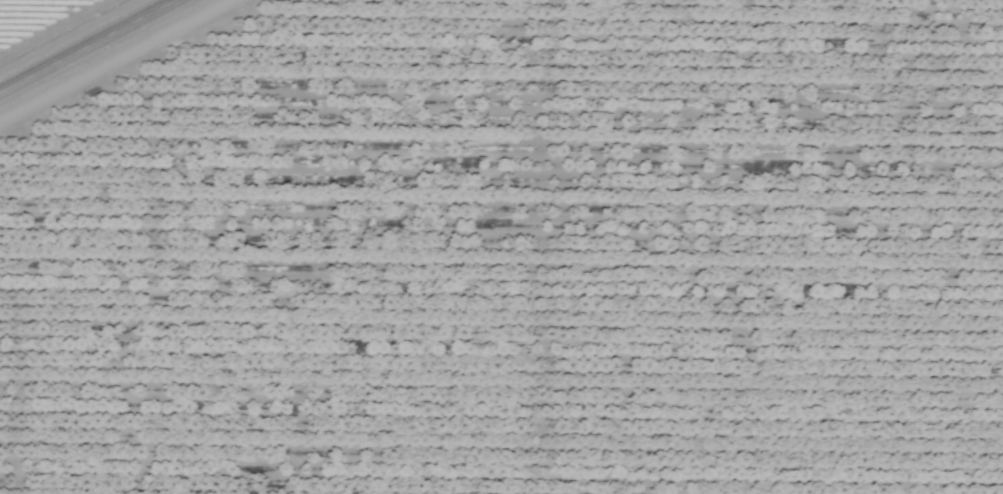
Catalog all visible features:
crop: (48, 25)
road: (94, 49)

